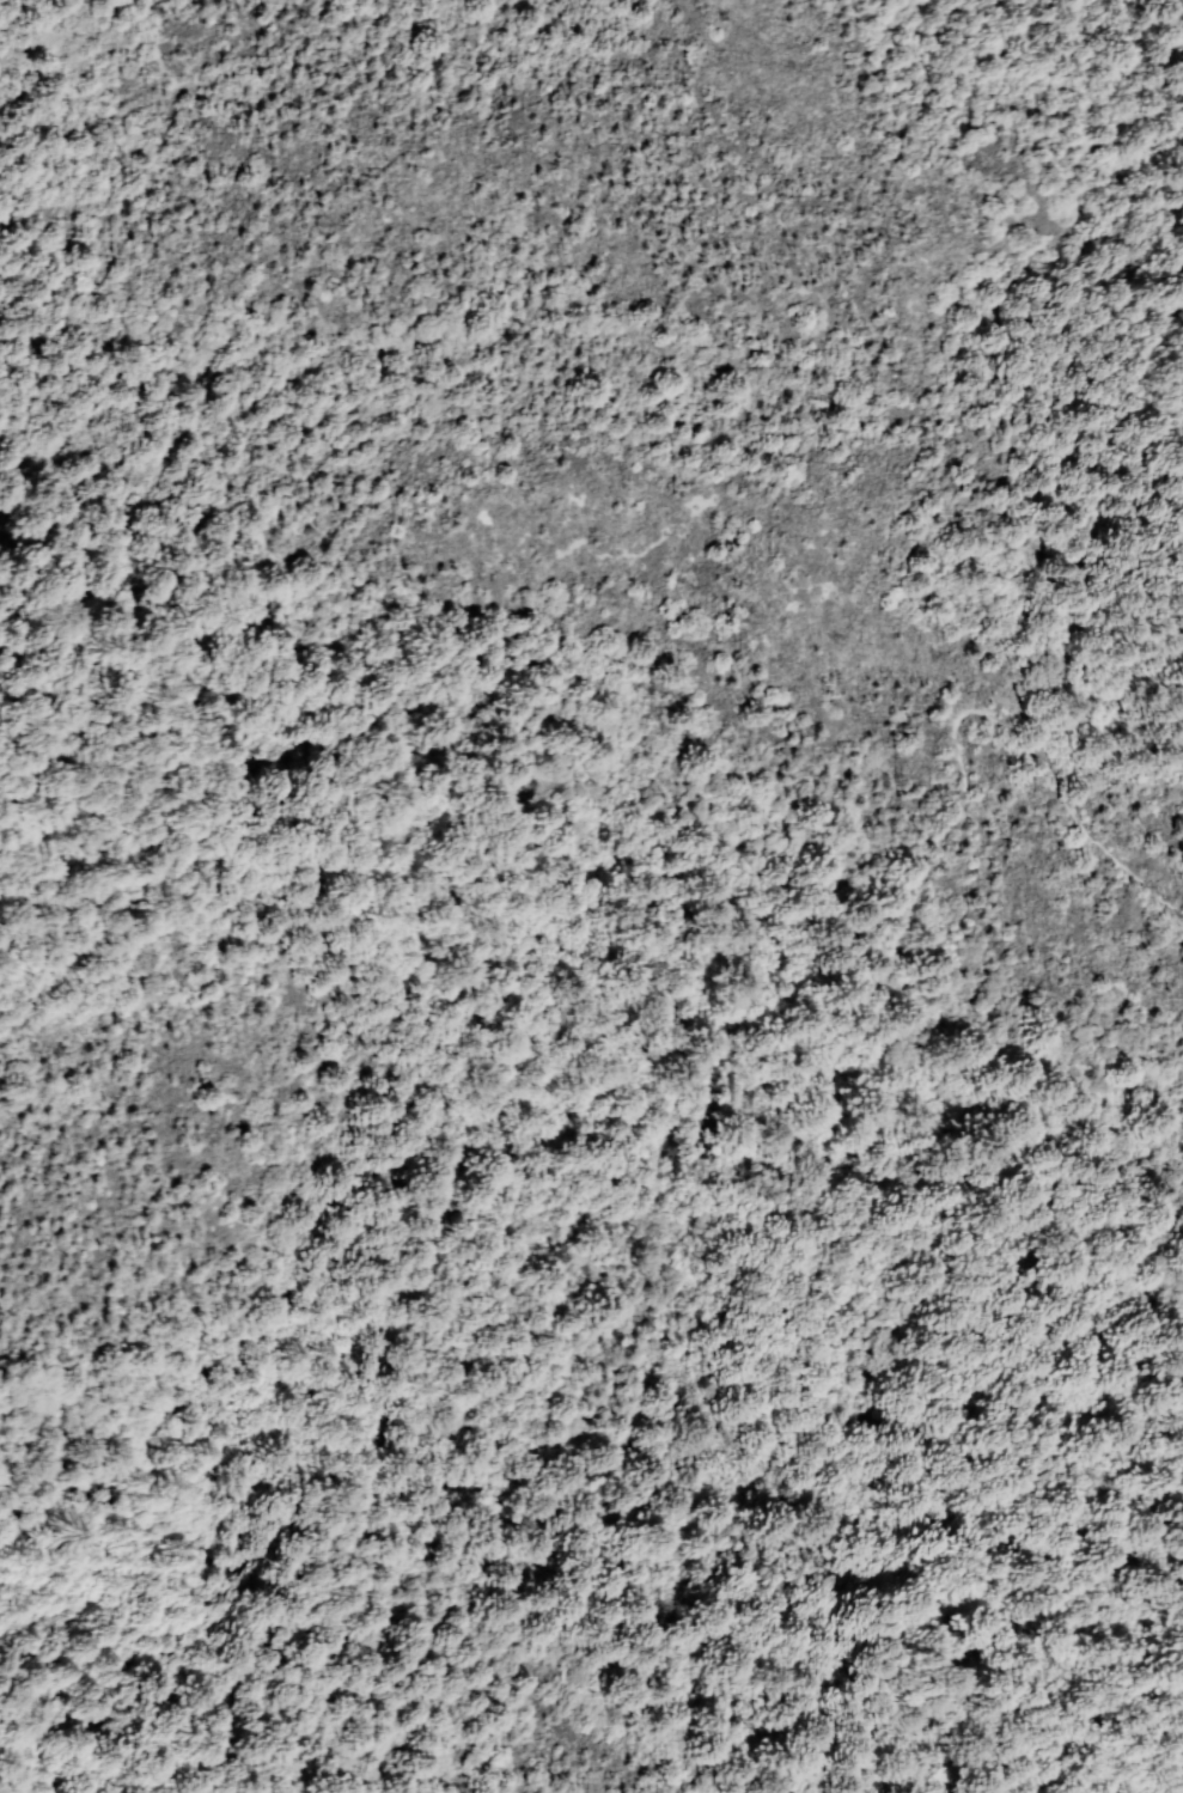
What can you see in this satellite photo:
road: (1007, 730)

